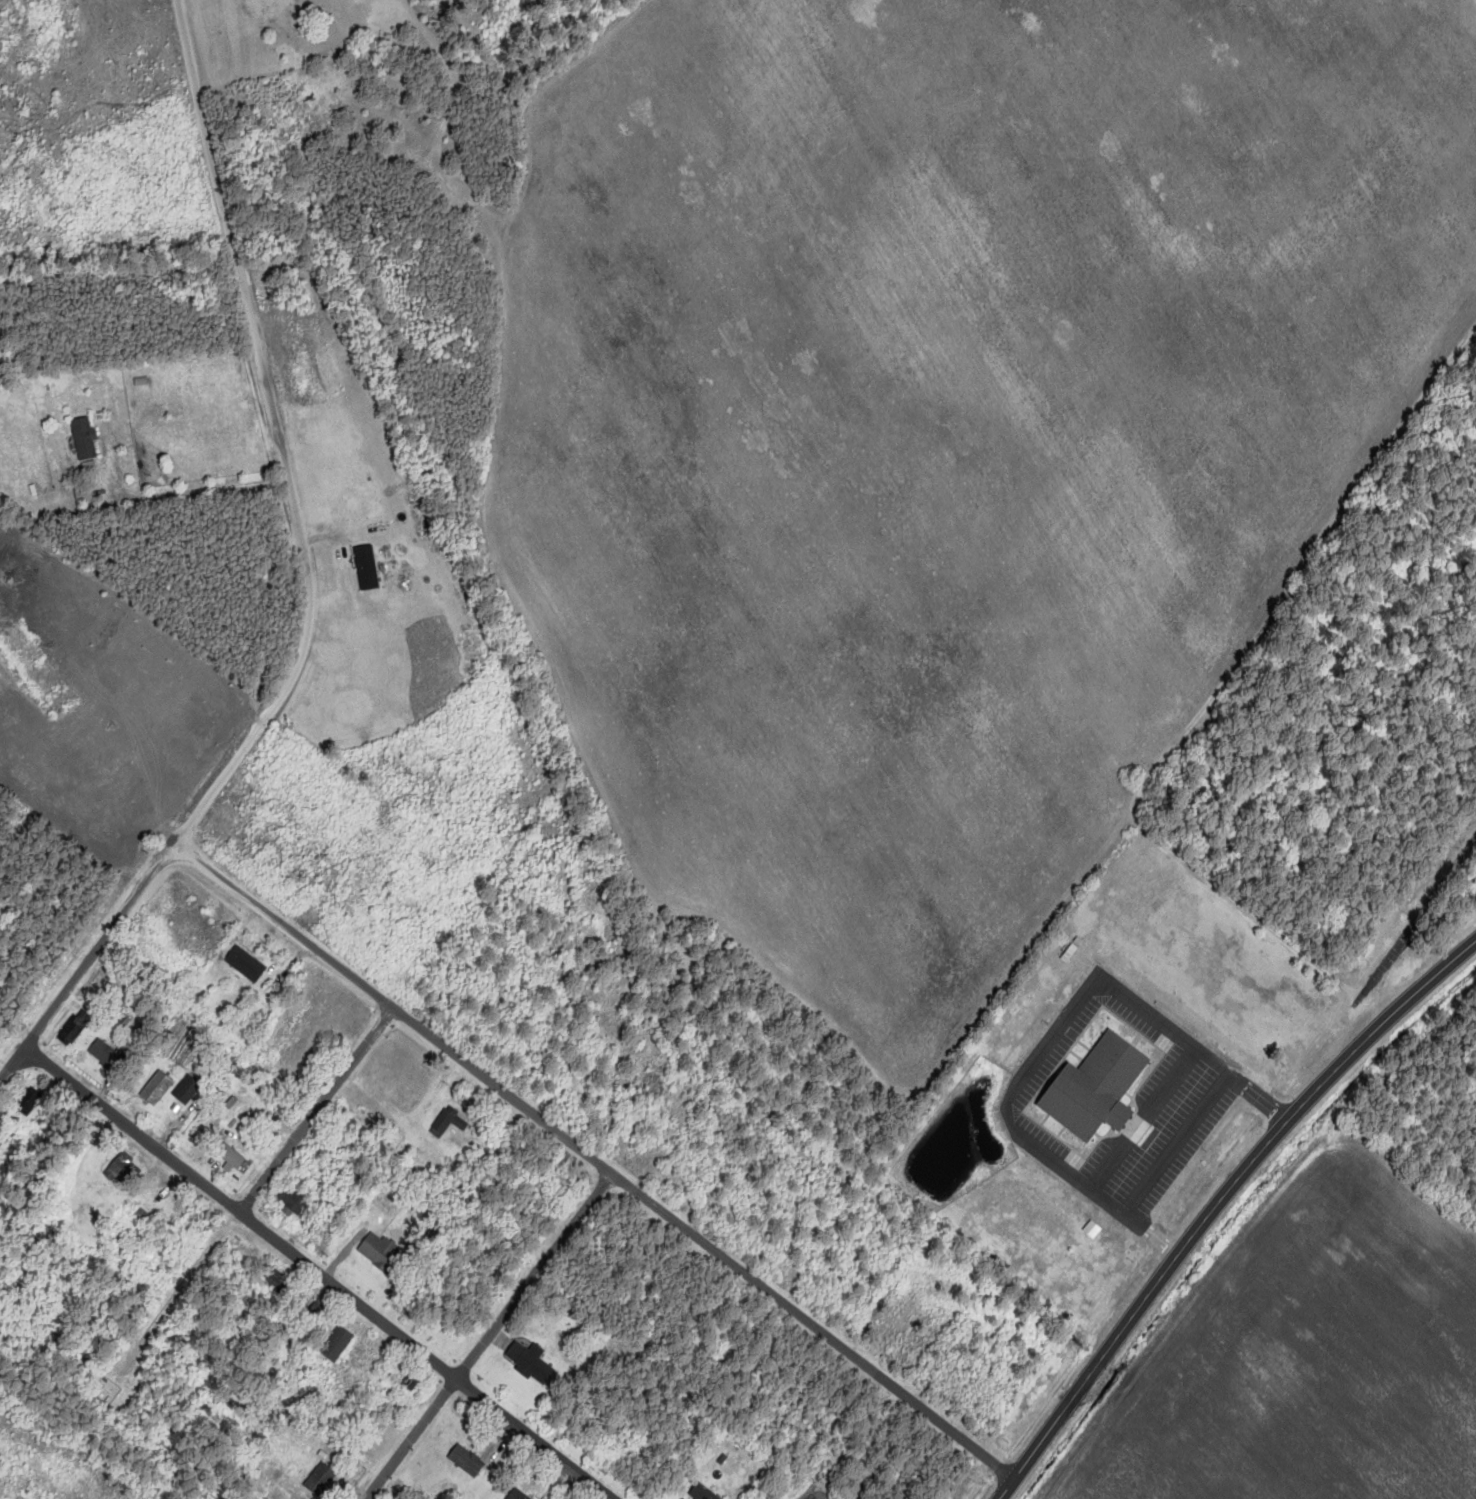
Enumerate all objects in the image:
park: (1474, 2)
building: (266, 7)
building: (84, 438)
building: (84, 496)
building: (367, 568)
road: (302, 582)
road: (1209, 702)
park: (1350, 727)
road: (1419, 917)
building: (246, 964)
building: (75, 1027)
building: (105, 1055)
building: (157, 1089)
building: (187, 1090)
building: (27, 1102)
road: (318, 1110)
building: (449, 1123)
road: (1284, 1126)
building: (232, 1159)
road: (595, 1161)
building: (123, 1170)
building: (293, 1201)
building: (139, 1212)
building: (196, 1225)
building: (381, 1253)
road: (319, 1272)
road: (489, 1336)
building: (338, 1345)
building: (530, 1362)
road: (1060, 1416)
building: (467, 1462)
building: (322, 1479)
building: (702, 1493)
building: (518, 1495)

